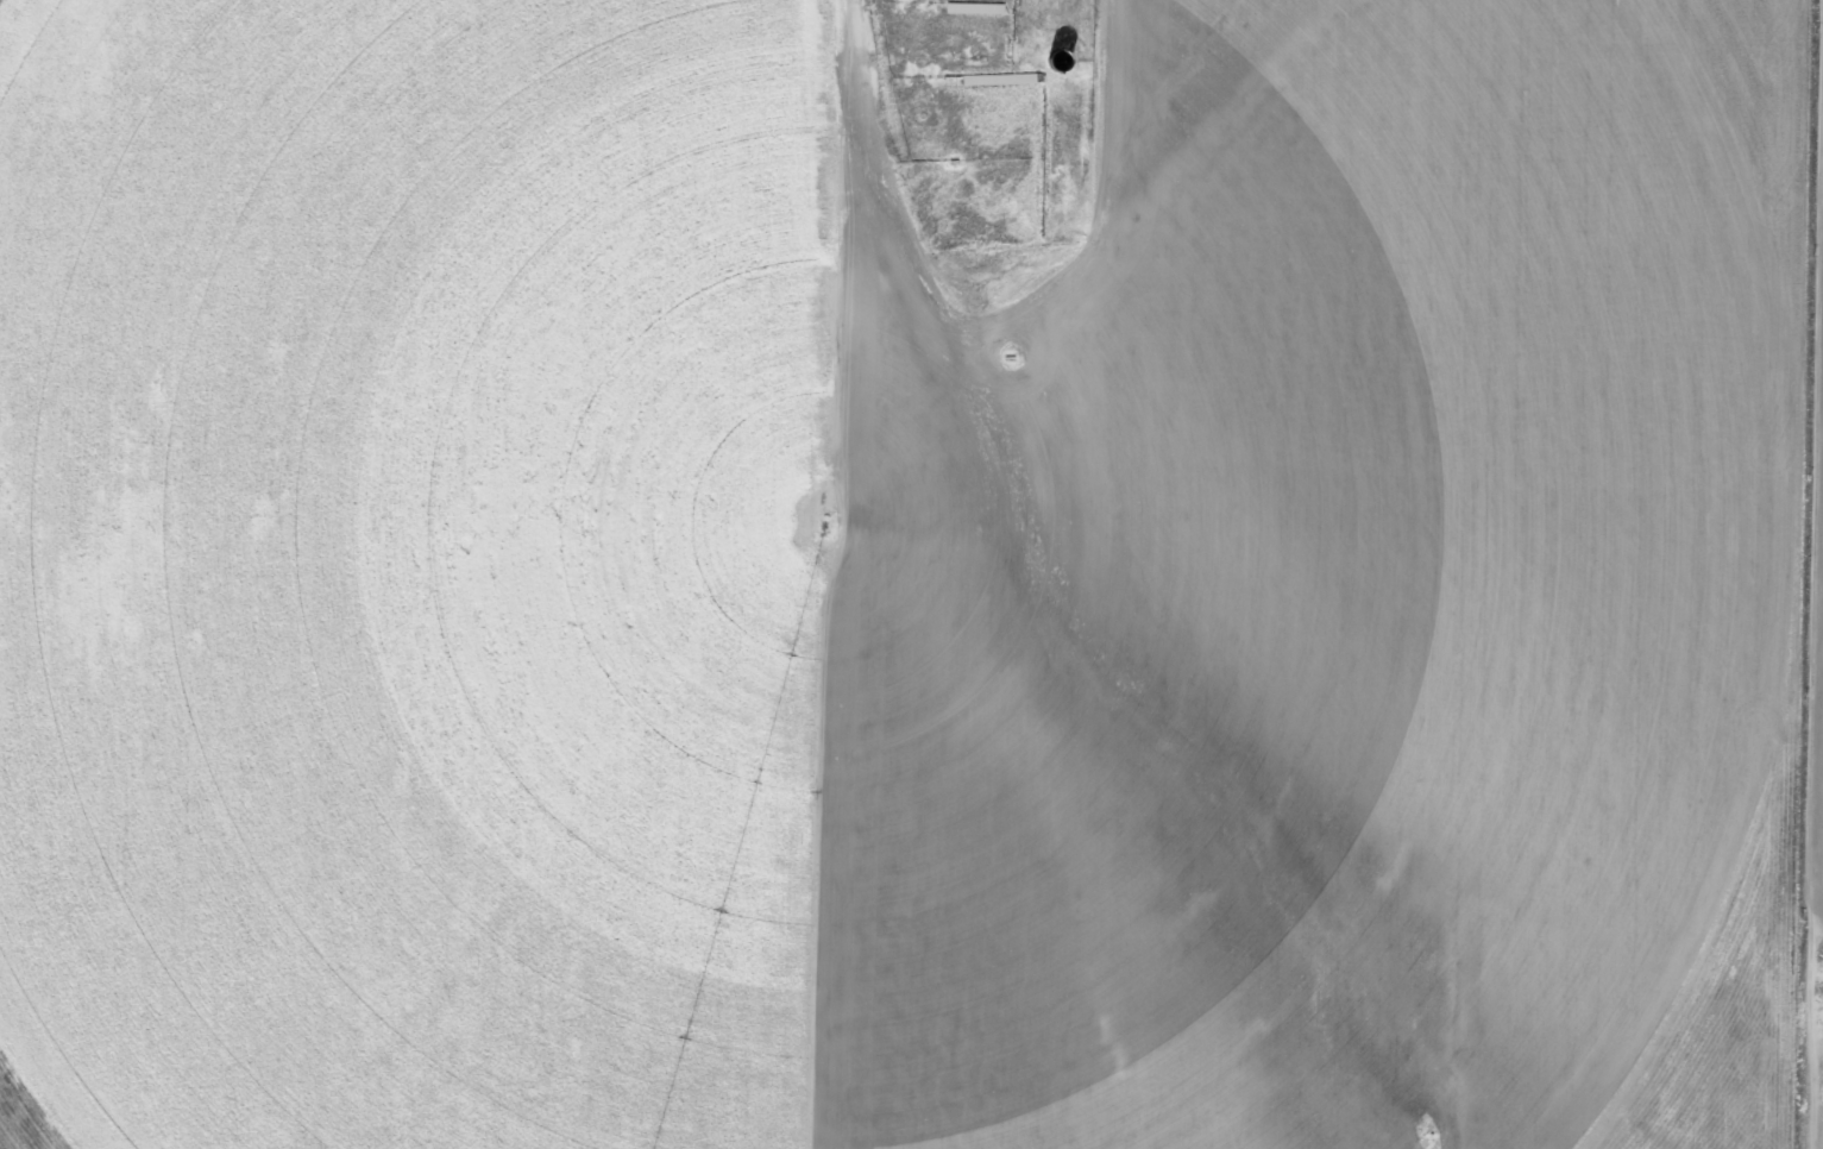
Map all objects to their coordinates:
crop: (891, 573)

